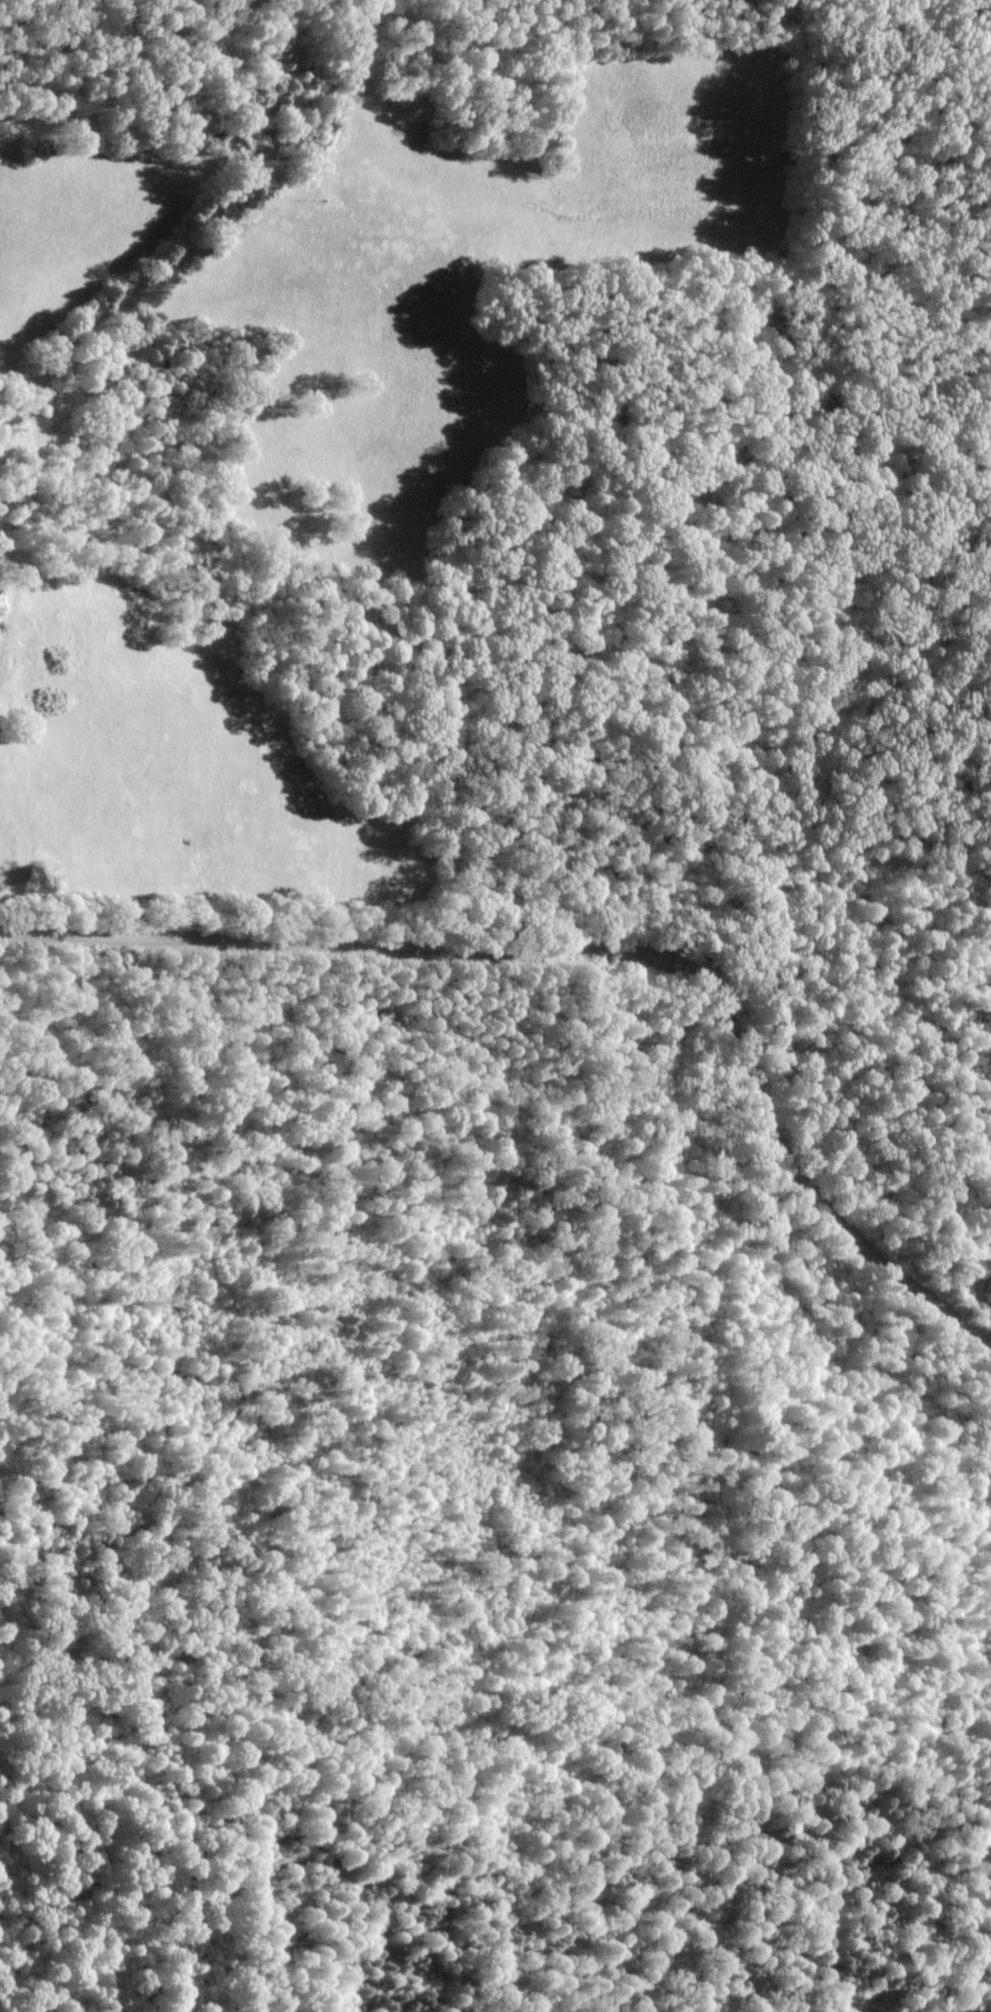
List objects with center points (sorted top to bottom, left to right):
road: (591, 945)

